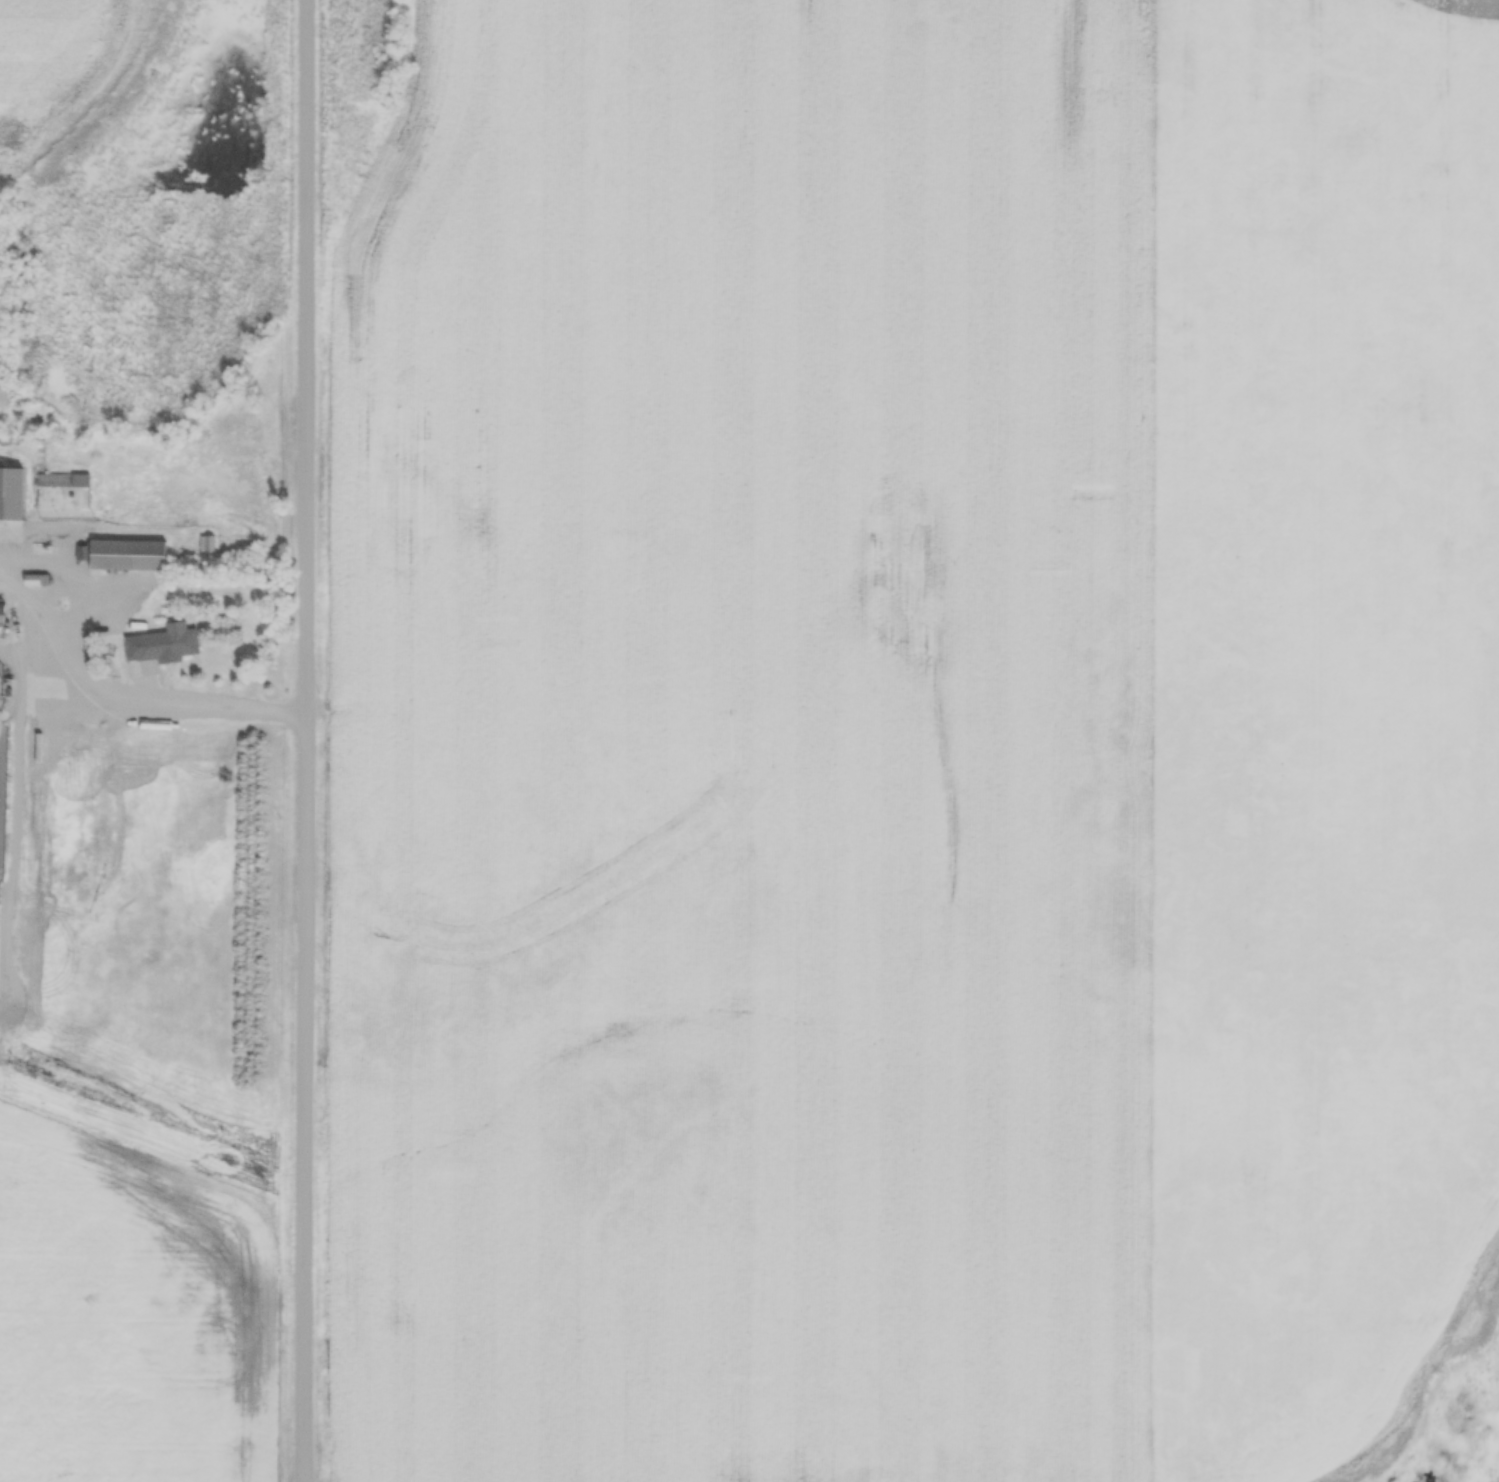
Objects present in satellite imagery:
building: (54, 482)
building: (13, 495)
building: (130, 556)
building: (4, 615)
building: (168, 647)
road: (127, 701)
road: (308, 740)

